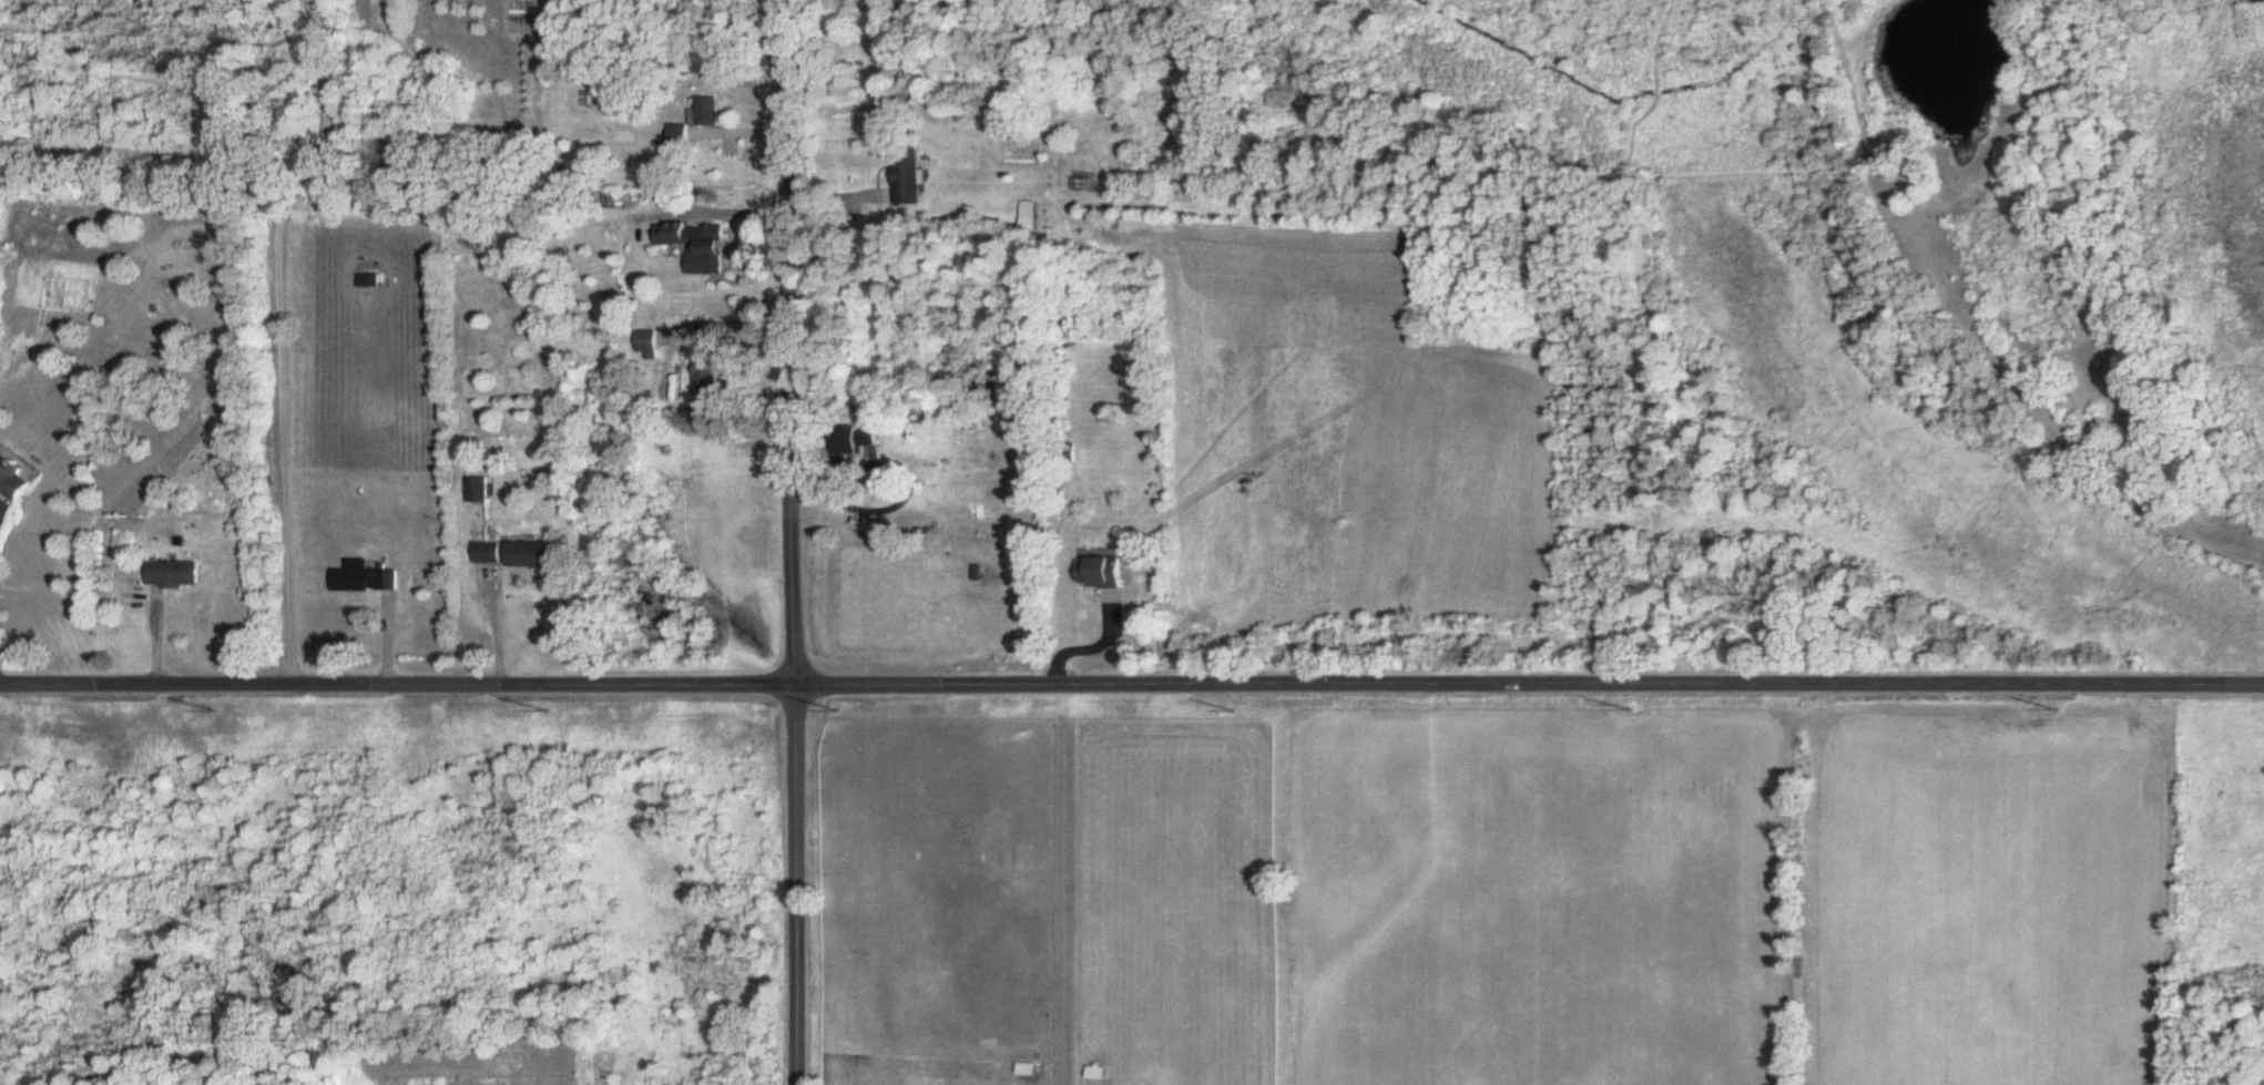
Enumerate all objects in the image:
building: (712, 114)
building: (681, 136)
building: (909, 178)
road: (731, 212)
building: (1028, 217)
building: (698, 244)
building: (368, 282)
road: (278, 335)
building: (647, 346)
building: (708, 382)
building: (854, 442)
building: (17, 475)
building: (479, 491)
road: (796, 542)
building: (516, 555)
building: (1101, 573)
building: (173, 576)
building: (367, 582)
road: (496, 626)
road: (1131, 686)
power tower: (1223, 708)
power tower: (2043, 709)
power tower: (230, 710)
power tower: (1622, 710)
power tower: (843, 713)
power tower: (562, 714)

